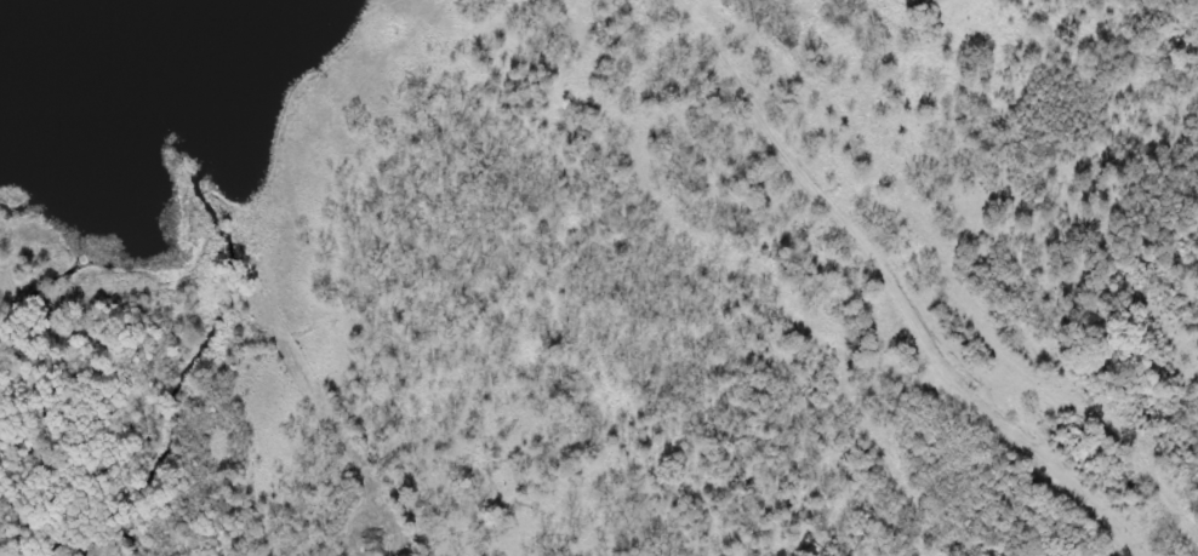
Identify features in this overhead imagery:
road: (892, 288)

